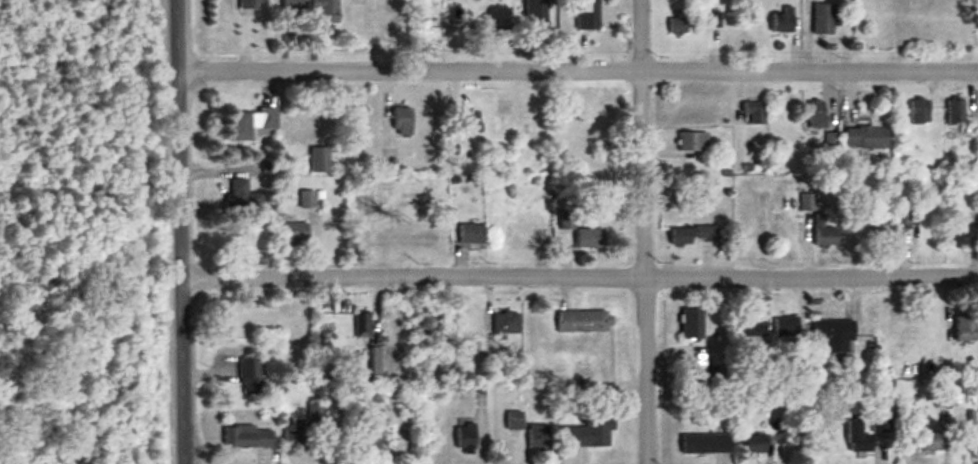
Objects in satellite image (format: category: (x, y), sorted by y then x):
building: (253, 4)
building: (295, 7)
building: (326, 12)
building: (536, 15)
building: (588, 15)
building: (824, 20)
building: (783, 21)
building: (713, 23)
building: (682, 25)
road: (577, 66)
building: (918, 111)
building: (954, 112)
building: (754, 114)
building: (815, 115)
building: (402, 121)
building: (466, 122)
building: (250, 124)
building: (865, 138)
building: (830, 141)
building: (693, 142)
building: (320, 160)
building: (243, 196)
building: (307, 200)
building: (808, 202)
building: (567, 221)
building: (396, 227)
building: (890, 230)
road: (180, 231)
road: (640, 232)
building: (296, 233)
building: (823, 233)
building: (472, 235)
building: (694, 235)
building: (958, 236)
building: (590, 239)
building: (245, 242)
road: (579, 274)
building: (265, 314)
building: (584, 320)
building: (506, 323)
building: (692, 323)
building: (362, 326)
building: (785, 326)
building: (754, 328)
building: (965, 328)
building: (834, 338)
building: (250, 375)
building: (941, 400)
building: (316, 411)
building: (514, 420)
building: (589, 432)
building: (295, 435)
building: (248, 437)
building: (538, 437)
building: (466, 438)
building: (857, 438)
building: (367, 440)
building: (931, 442)
building: (705, 443)
building: (755, 444)

